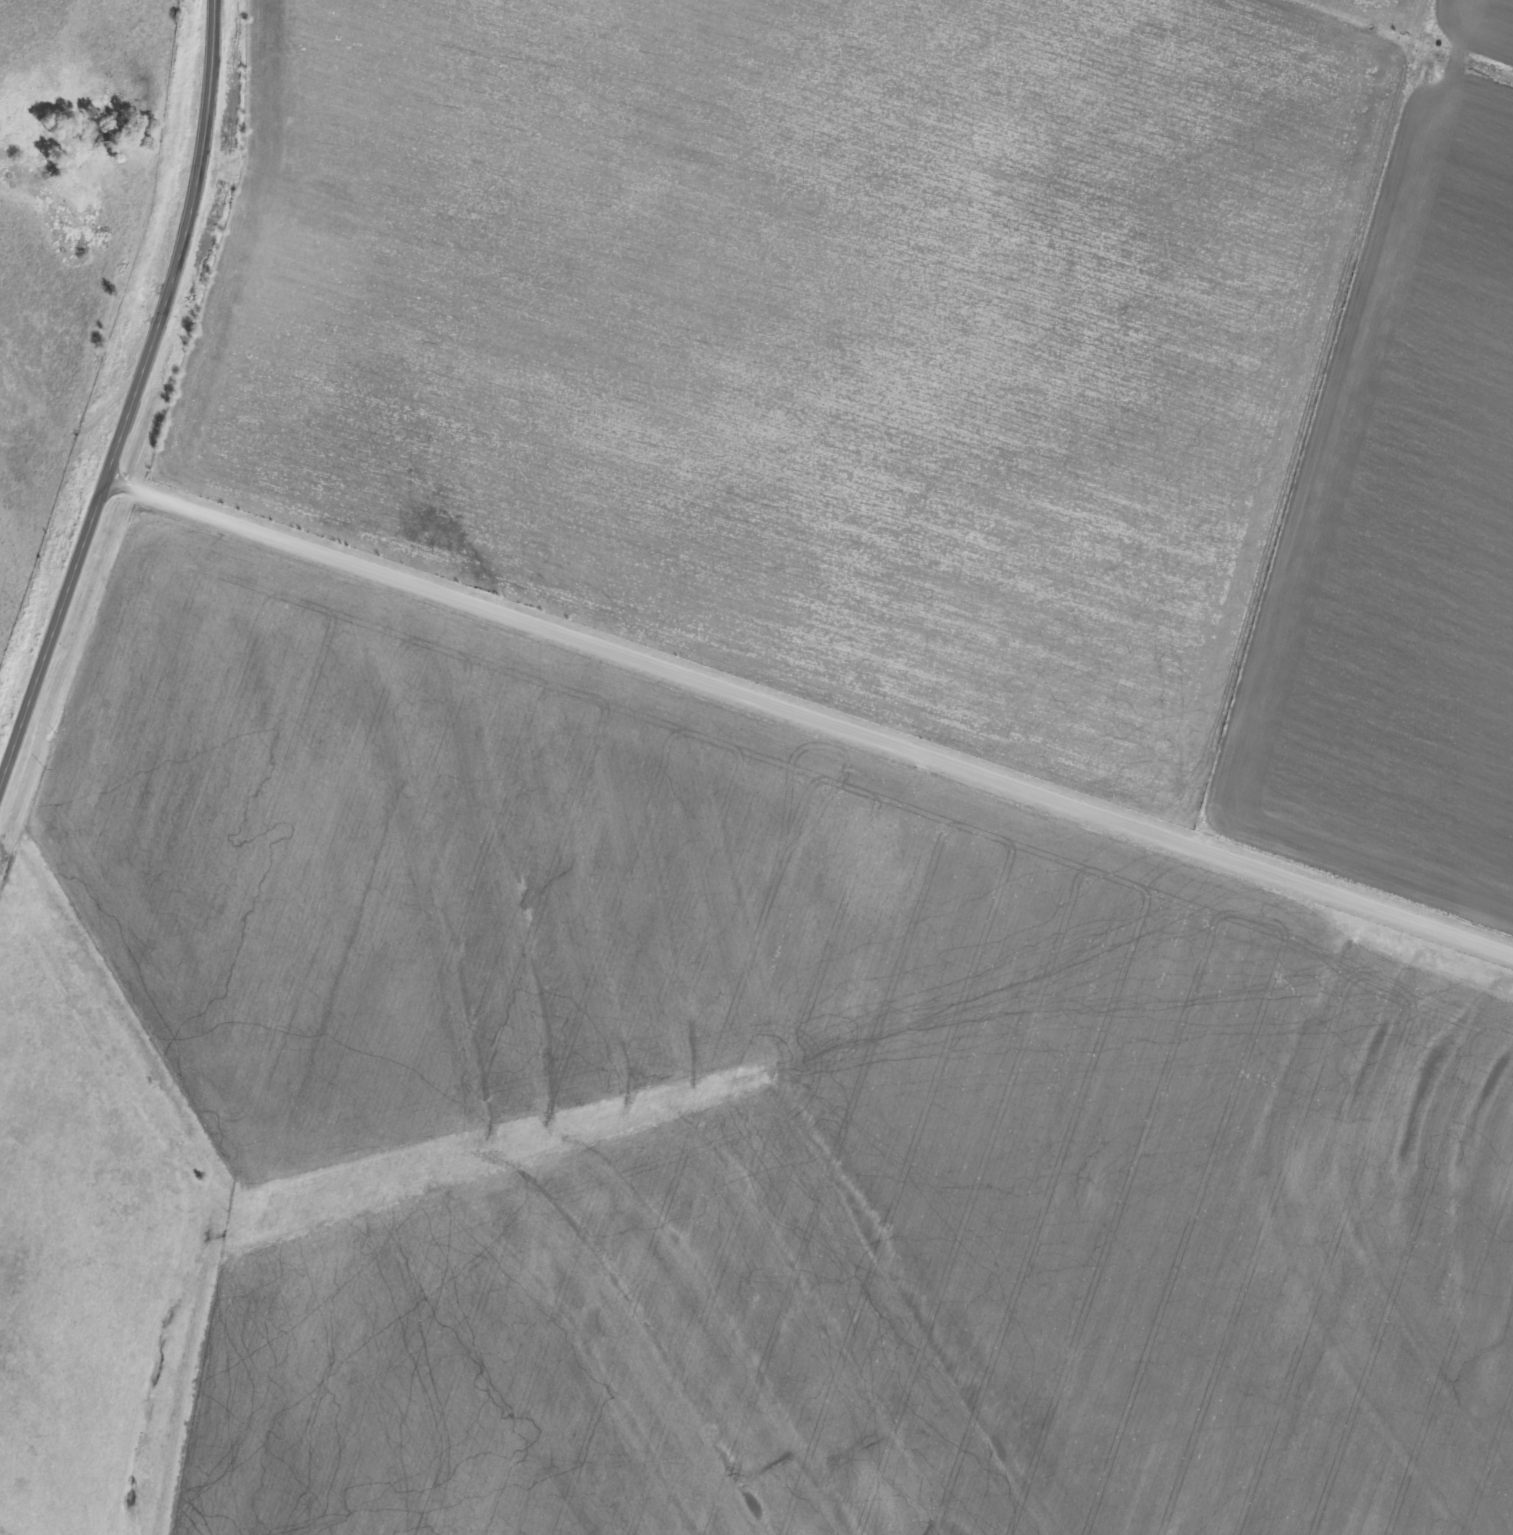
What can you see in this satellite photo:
road: (132, 402)
road: (210, 528)
road: (913, 763)

